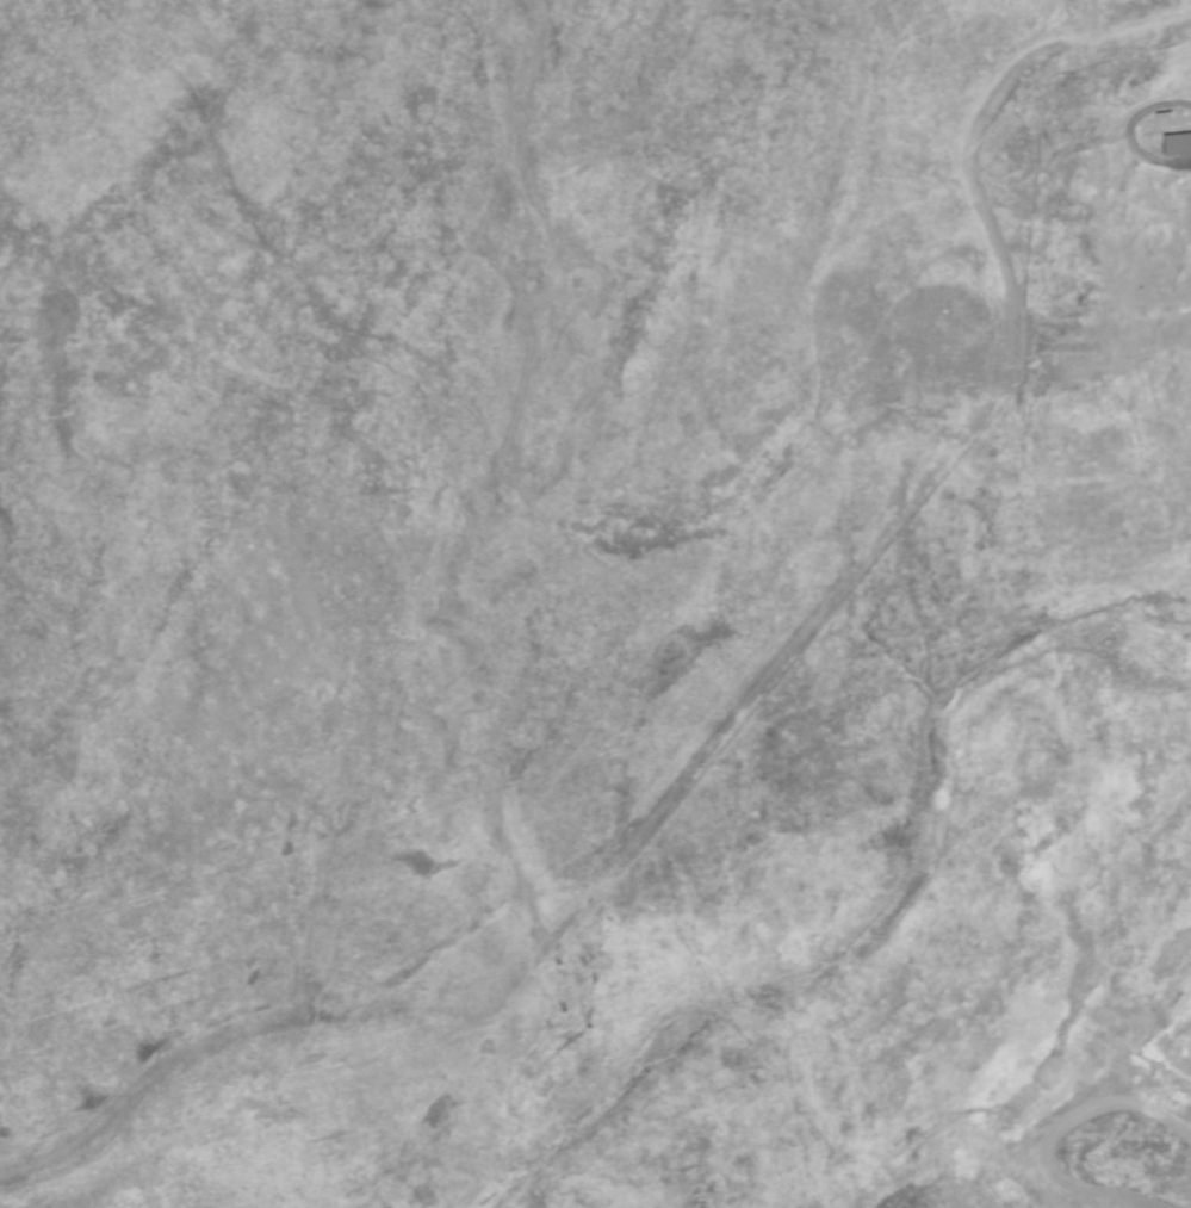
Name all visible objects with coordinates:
road: (1128, 132)
airport: (595, 603)
road: (1184, 1030)
road: (1102, 1151)

